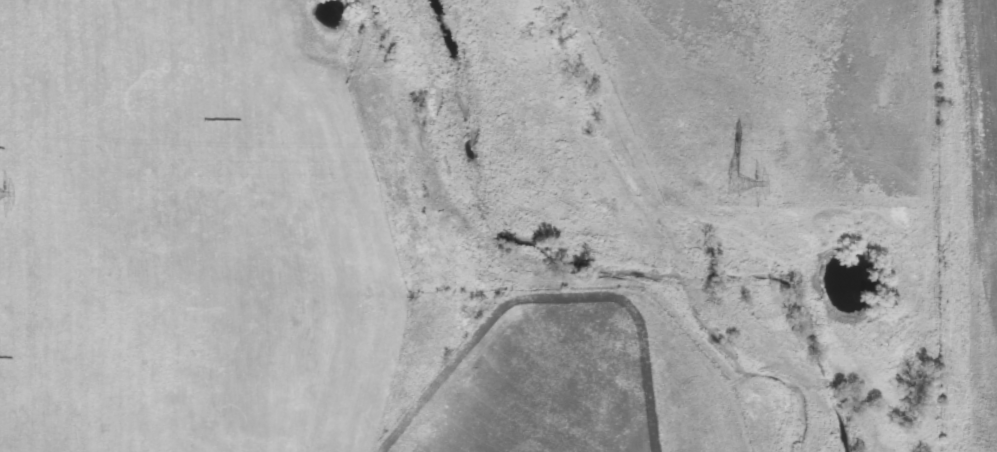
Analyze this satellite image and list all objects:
building: (744, 180)
power tower: (737, 183)
road: (180, 265)

